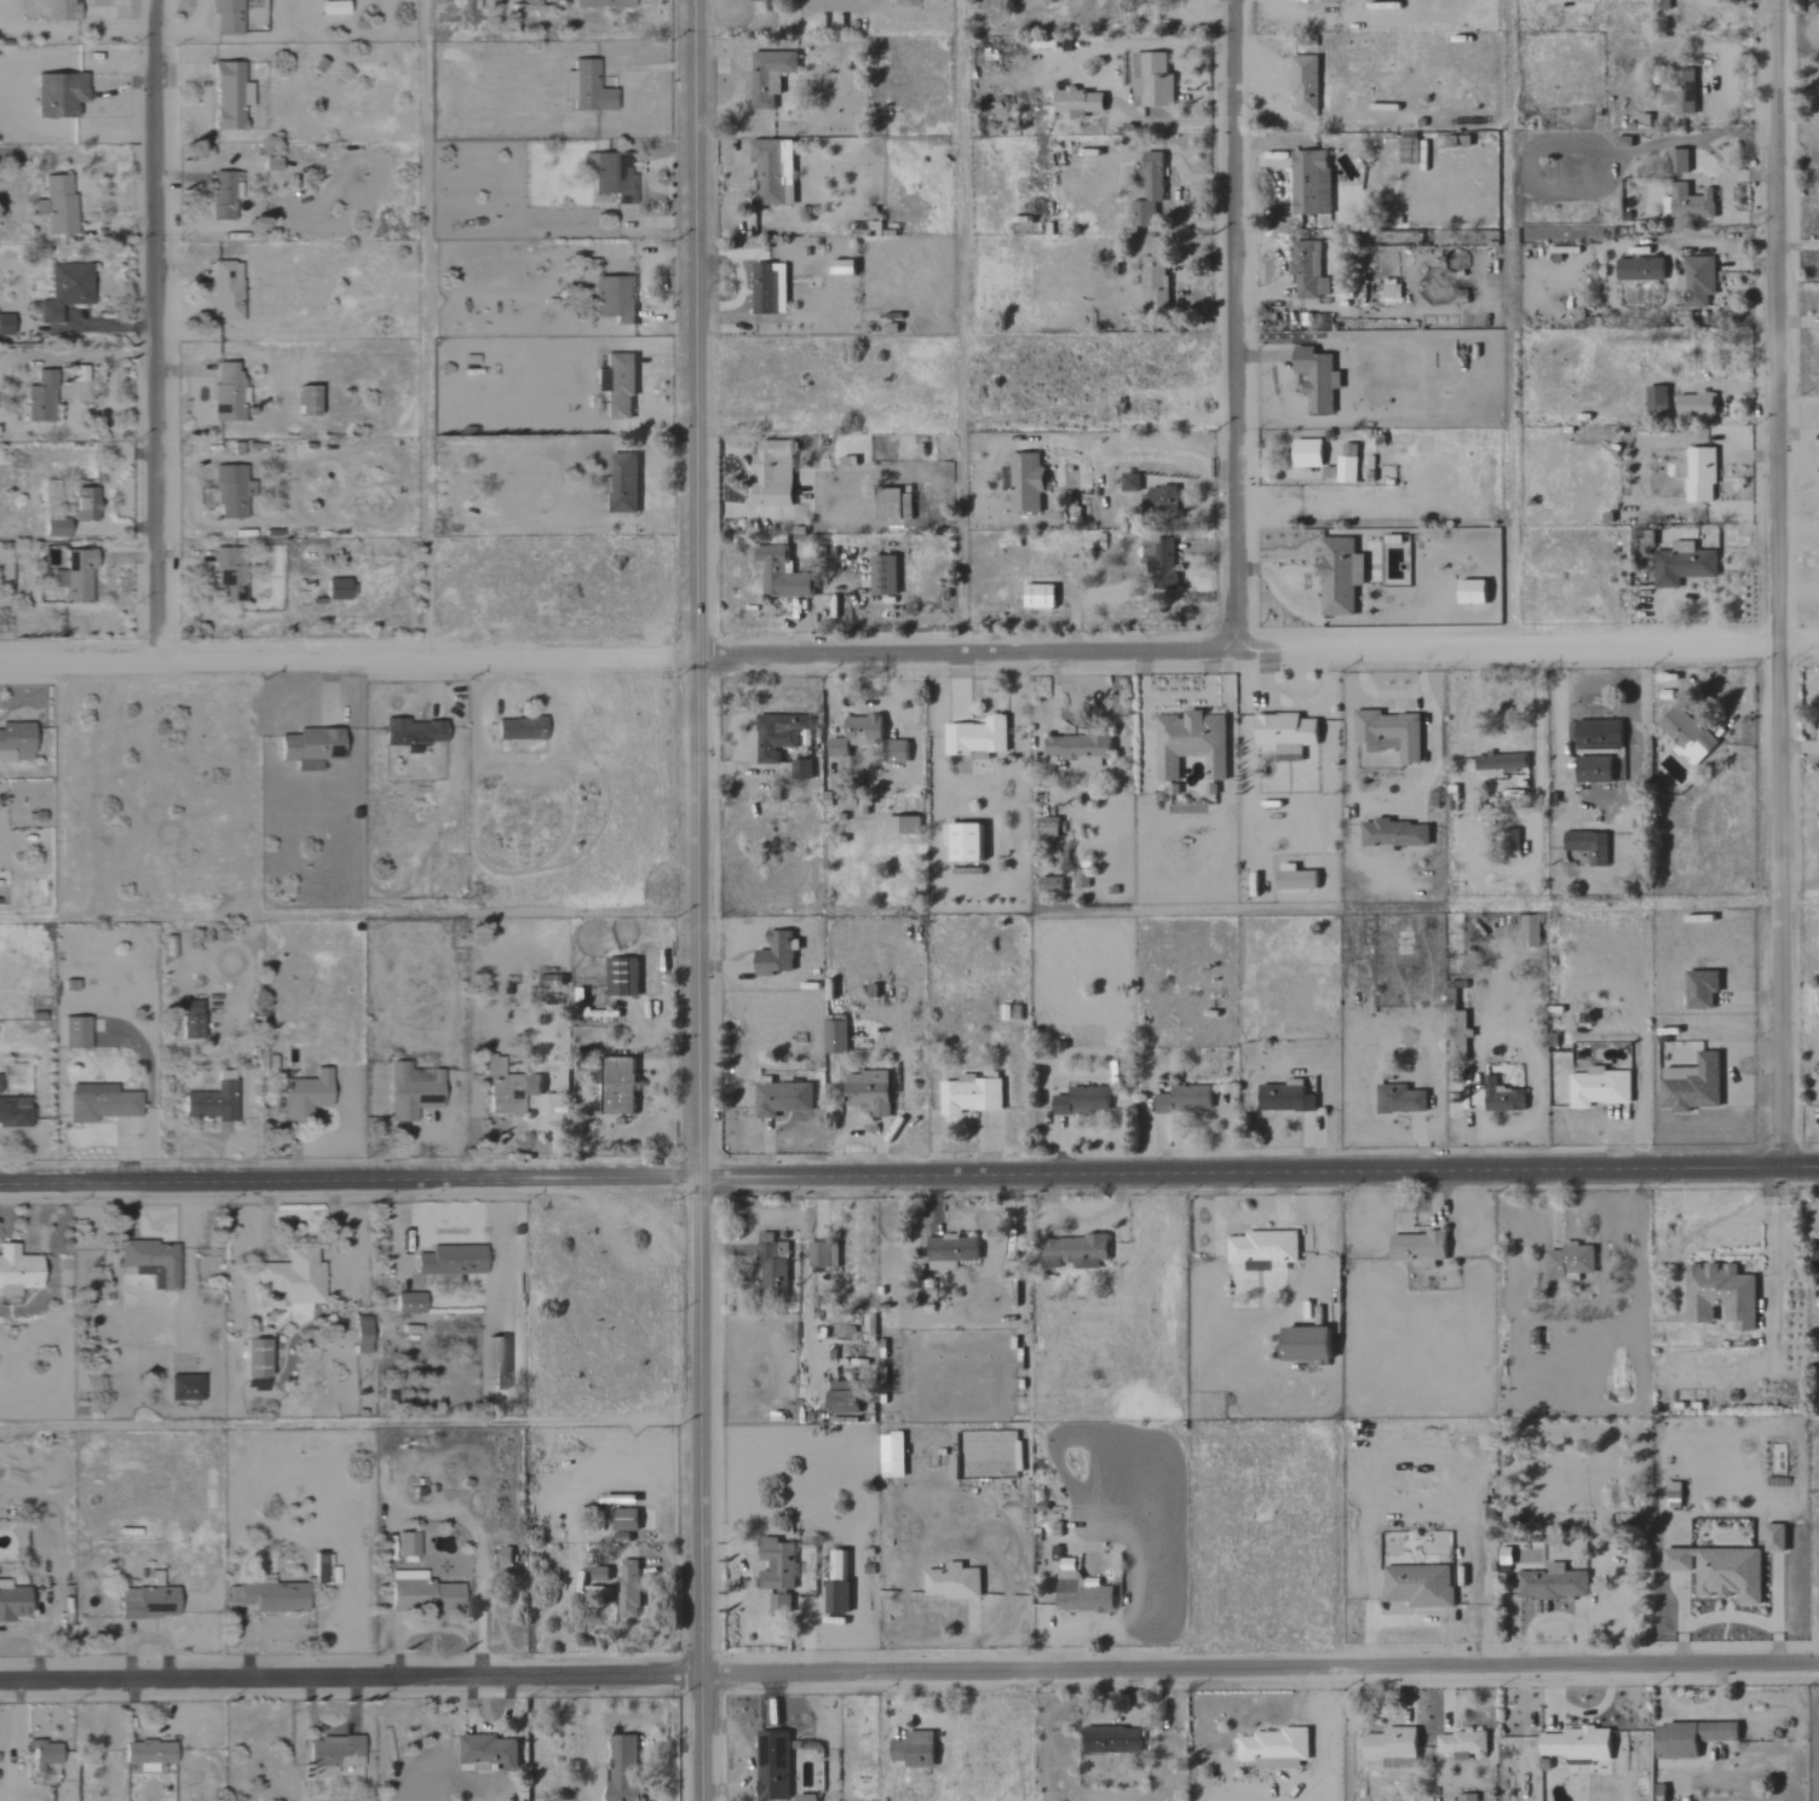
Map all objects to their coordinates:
building: (529, 1)
building: (1326, 1)
building: (600, 2)
building: (329, 6)
building: (58, 10)
building: (224, 16)
building: (769, 75)
building: (1153, 80)
building: (1303, 84)
building: (588, 88)
building: (1683, 91)
building: (57, 94)
building: (226, 96)
building: (1077, 100)
building: (1676, 160)
building: (772, 171)
building: (609, 176)
building: (1309, 182)
building: (1149, 189)
building: (221, 196)
building: (1690, 201)
building: (57, 203)
building: (841, 266)
building: (1305, 267)
building: (1639, 269)
building: (1155, 281)
building: (1699, 281)
building: (1389, 287)
building: (767, 288)
building: (64, 289)
building: (224, 290)
building: (612, 298)
road: (1233, 322)
road: (961, 323)
building: (5, 324)
road: (426, 327)
road: (156, 328)
road: (77, 357)
building: (1316, 378)
building: (599, 380)
building: (618, 385)
road: (208, 387)
building: (226, 393)
building: (39, 397)
building: (1656, 399)
building: (303, 401)
building: (1693, 404)
building: (1306, 453)
road: (1140, 454)
building: (1346, 464)
building: (771, 473)
building: (1697, 474)
building: (1129, 482)
building: (622, 483)
building: (1024, 483)
building: (230, 490)
building: (1158, 500)
building: (82, 502)
building: (887, 505)
building: (53, 528)
building: (1159, 562)
building: (1681, 564)
building: (228, 574)
building: (778, 574)
building: (882, 575)
building: (74, 576)
building: (1339, 576)
road: (1774, 582)
building: (336, 589)
building: (1470, 591)
building: (1037, 595)
road: (1255, 643)
road: (346, 655)
road: (1374, 690)
road: (1536, 715)
road: (1432, 727)
building: (518, 729)
building: (410, 732)
building: (856, 733)
building: (1284, 733)
building: (1388, 733)
building: (1686, 733)
building: (1595, 735)
building: (776, 736)
building: (975, 737)
building: (15, 741)
building: (1190, 743)
building: (309, 748)
building: (1078, 748)
building: (894, 752)
building: (1499, 761)
building: (800, 769)
building: (1593, 770)
road: (1594, 802)
building: (902, 825)
building: (1044, 825)
building: (1394, 834)
building: (963, 842)
building: (1587, 845)
building: (1294, 878)
building: (1081, 879)
building: (1050, 884)
road: (696, 901)
building: (1530, 931)
building: (775, 954)
building: (621, 976)
building: (1700, 989)
building: (189, 1019)
building: (1456, 1025)
building: (75, 1032)
building: (834, 1037)
building: (1691, 1084)
building: (617, 1086)
building: (1599, 1087)
building: (507, 1088)
building: (410, 1092)
building: (867, 1092)
building: (969, 1094)
building: (304, 1095)
building: (779, 1097)
building: (1284, 1097)
building: (1501, 1097)
building: (1184, 1099)
building: (1399, 1099)
building: (1081, 1100)
building: (98, 1103)
building: (209, 1103)
building: (13, 1111)
road: (909, 1175)
building: (1417, 1248)
building: (1261, 1250)
building: (950, 1252)
building: (1072, 1252)
building: (822, 1255)
building: (450, 1260)
building: (770, 1260)
building: (1814, 1260)
building: (1570, 1261)
building: (149, 1264)
building: (16, 1271)
building: (290, 1281)
building: (1720, 1295)
building: (408, 1302)
building: (359, 1335)
building: (1303, 1345)
building: (253, 1359)
building: (184, 1388)
building: (842, 1397)
building: (1673, 1489)
building: (622, 1523)
building: (1774, 1537)
building: (404, 1543)
building: (836, 1564)
building: (316, 1567)
building: (1719, 1570)
building: (776, 1571)
building: (598, 1573)
building: (952, 1581)
building: (1550, 1582)
building: (1417, 1584)
building: (627, 1588)
building: (1080, 1589)
building: (422, 1594)
building: (267, 1595)
building: (835, 1595)
building: (12, 1601)
building: (145, 1603)
road: (1257, 1671)
road: (349, 1681)
building: (1688, 1737)
building: (1110, 1739)
building: (1460, 1743)
building: (1575, 1743)
building: (1391, 1747)
building: (1273, 1748)
building: (913, 1749)
building: (333, 1751)
building: (487, 1753)
building: (45, 1754)
building: (146, 1754)
building: (771, 1766)
building: (622, 1767)

